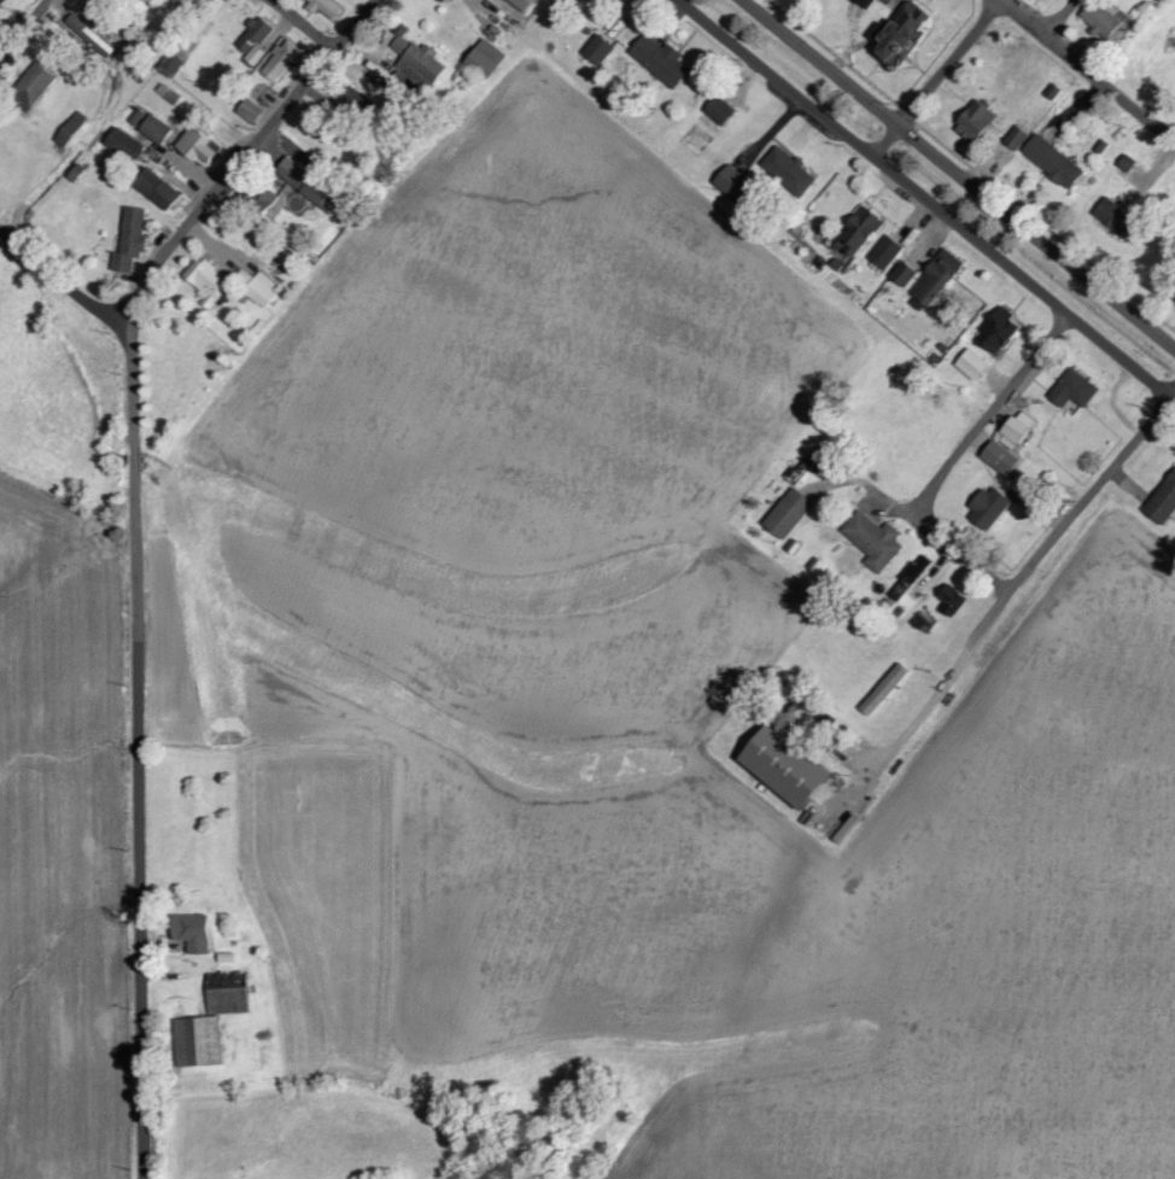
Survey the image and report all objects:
building: (869, 2)
building: (525, 4)
building: (328, 7)
road: (1058, 18)
building: (1104, 19)
road: (23, 28)
building: (93, 35)
building: (905, 35)
building: (256, 39)
road: (322, 45)
building: (602, 49)
building: (487, 58)
building: (283, 60)
building: (665, 60)
building: (174, 64)
road: (1087, 68)
building: (416, 71)
road: (936, 77)
building: (36, 83)
building: (171, 93)
building: (723, 110)
building: (252, 111)
building: (980, 122)
building: (158, 129)
building: (1018, 136)
building: (128, 144)
building: (203, 145)
road: (242, 152)
building: (1057, 162)
building: (1134, 165)
building: (791, 169)
road: (960, 174)
building: (309, 183)
building: (736, 183)
building: (160, 188)
road: (925, 197)
building: (1122, 218)
building: (863, 230)
building: (134, 239)
building: (889, 252)
building: (908, 273)
building: (937, 279)
building: (209, 280)
road: (59, 281)
building: (264, 288)
building: (1002, 331)
building: (975, 364)
building: (1077, 389)
building: (1019, 430)
road: (958, 456)
building: (1004, 457)
building: (1165, 502)
building: (994, 506)
building: (791, 513)
building: (876, 541)
road: (1028, 565)
building: (913, 576)
building: (893, 683)
road: (138, 746)
building: (790, 766)
building: (197, 933)
building: (201, 1043)

